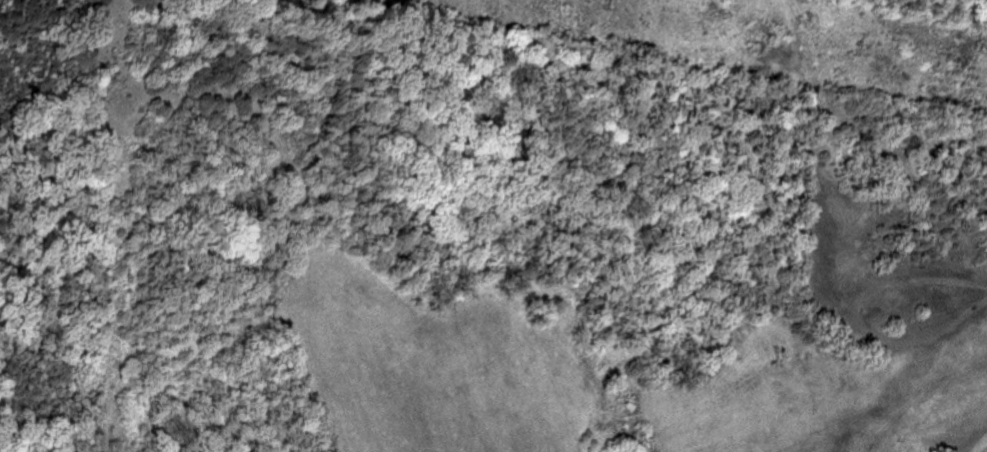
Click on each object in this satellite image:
power tower: (598, 0)
power tower: (854, 46)
road: (982, 447)

